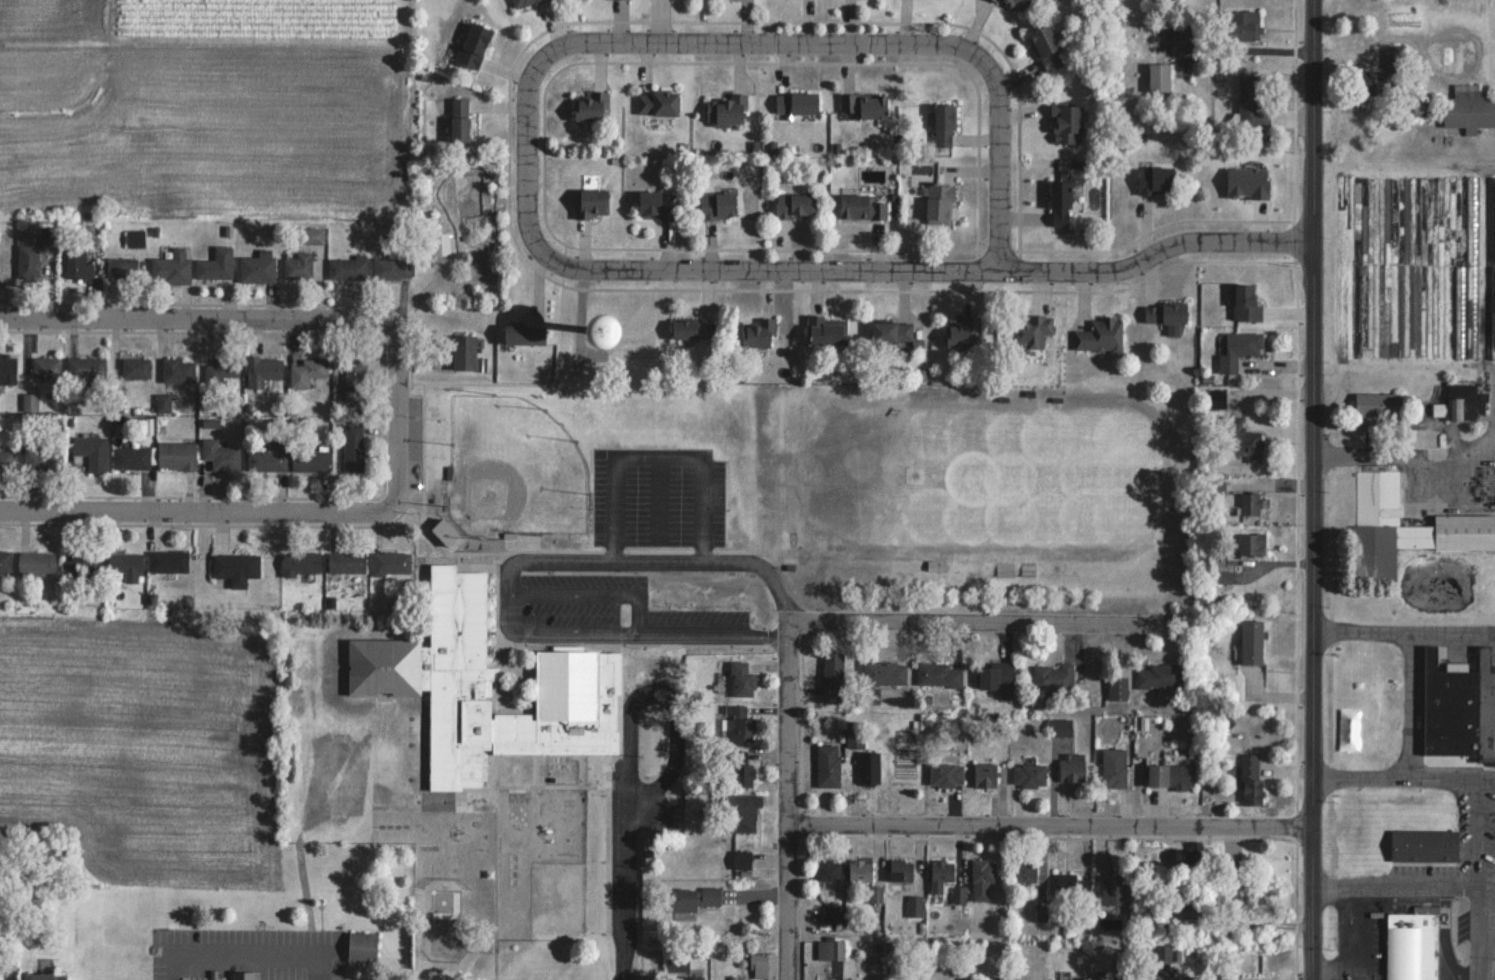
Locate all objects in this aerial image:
building: (522, 3)
building: (1015, 4)
building: (1249, 25)
building: (473, 45)
building: (1046, 46)
road: (1250, 49)
road: (760, 51)
building: (1160, 77)
building: (1374, 81)
building: (1251, 98)
building: (796, 101)
building: (657, 102)
building: (864, 104)
building: (592, 106)
building: (1425, 106)
building: (1469, 108)
building: (725, 109)
building: (458, 119)
building: (1067, 122)
building: (944, 124)
road: (1004, 154)
road: (522, 166)
building: (1156, 179)
building: (592, 202)
building: (939, 202)
building: (1060, 203)
building: (656, 204)
building: (718, 204)
building: (795, 204)
building: (862, 206)
building: (134, 238)
building: (442, 244)
building: (83, 260)
building: (27, 261)
building: (215, 263)
building: (256, 264)
building: (1493, 264)
building: (298, 265)
road: (928, 265)
building: (122, 266)
building: (1473, 266)
building: (171, 267)
building: (348, 268)
building: (392, 268)
building: (1247, 302)
building: (1448, 310)
building: (1166, 313)
road: (194, 328)
building: (693, 329)
building: (826, 330)
building: (891, 331)
building: (759, 332)
building: (1032, 332)
building: (524, 334)
building: (1101, 335)
building: (1240, 349)
building: (464, 352)
building: (46, 366)
building: (87, 366)
building: (7, 367)
building: (135, 367)
building: (178, 369)
building: (262, 369)
building: (220, 370)
building: (308, 371)
building: (354, 382)
building: (1455, 402)
building: (1377, 403)
road: (394, 427)
building: (1243, 440)
building: (353, 447)
building: (91, 451)
road: (1412, 454)
building: (176, 455)
building: (219, 455)
road: (658, 455)
building: (266, 456)
building: (43, 457)
building: (131, 457)
building: (7, 458)
building: (309, 460)
park: (514, 467)
road: (1314, 490)
road: (658, 498)
building: (1249, 503)
road: (193, 521)
building: (1405, 526)
building: (444, 531)
building: (1252, 543)
building: (168, 560)
building: (5, 561)
building: (303, 561)
building: (36, 562)
building: (346, 562)
building: (391, 562)
building: (81, 564)
building: (125, 565)
building: (235, 566)
building: (1005, 568)
road: (507, 574)
road: (974, 619)
road: (1403, 631)
building: (1252, 642)
building: (886, 672)
building: (940, 674)
building: (997, 676)
building: (1053, 676)
building: (1160, 676)
building: (835, 677)
building: (742, 680)
building: (488, 687)
building: (1117, 688)
road: (662, 693)
road: (1413, 705)
building: (1486, 705)
building: (1450, 707)
building: (741, 724)
building: (828, 765)
building: (868, 767)
building: (1072, 767)
building: (1114, 767)
building: (947, 774)
building: (741, 775)
building: (985, 775)
building: (1030, 775)
building: (1171, 775)
road: (1402, 777)
building: (1252, 780)
road: (792, 803)
building: (743, 812)
road: (1051, 825)
road: (1474, 831)
building: (1425, 845)
building: (1196, 852)
building: (742, 859)
building: (828, 870)
building: (902, 870)
building: (1024, 870)
building: (860, 871)
building: (942, 874)
building: (982, 878)
road: (1411, 885)
building: (1113, 892)
road: (627, 894)
building: (1401, 898)
building: (692, 901)
building: (915, 906)
road: (1353, 933)
building: (1413, 944)
road: (1481, 944)
building: (361, 947)
building: (830, 950)
road: (248, 953)
building: (1163, 953)
building: (758, 966)
road: (1333, 969)
building: (242, 975)
building: (1106, 975)
building: (46, 976)
building: (691, 978)
building: (1148, 978)

